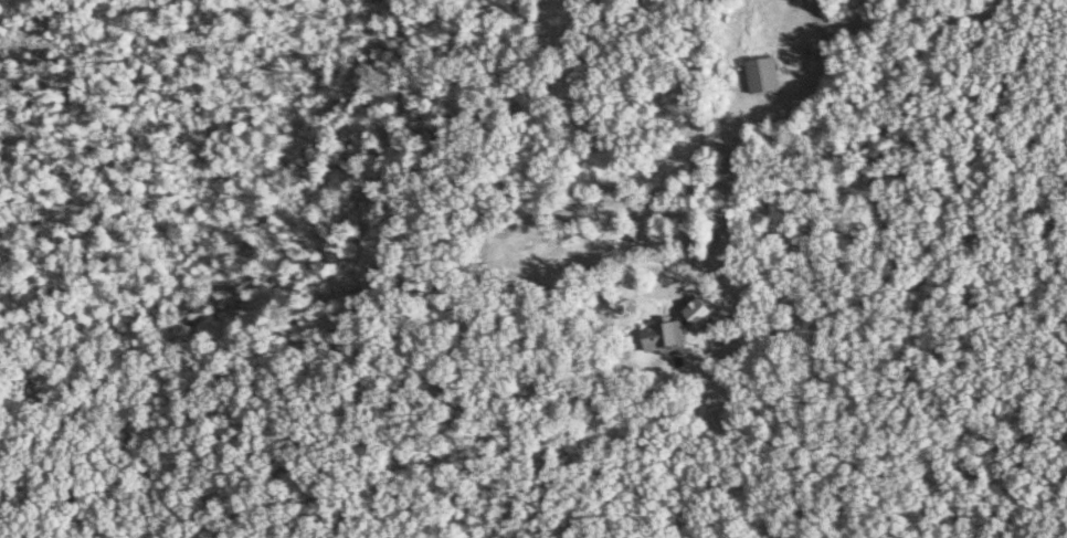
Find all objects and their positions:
building: (758, 75)
road: (793, 106)
building: (659, 336)

